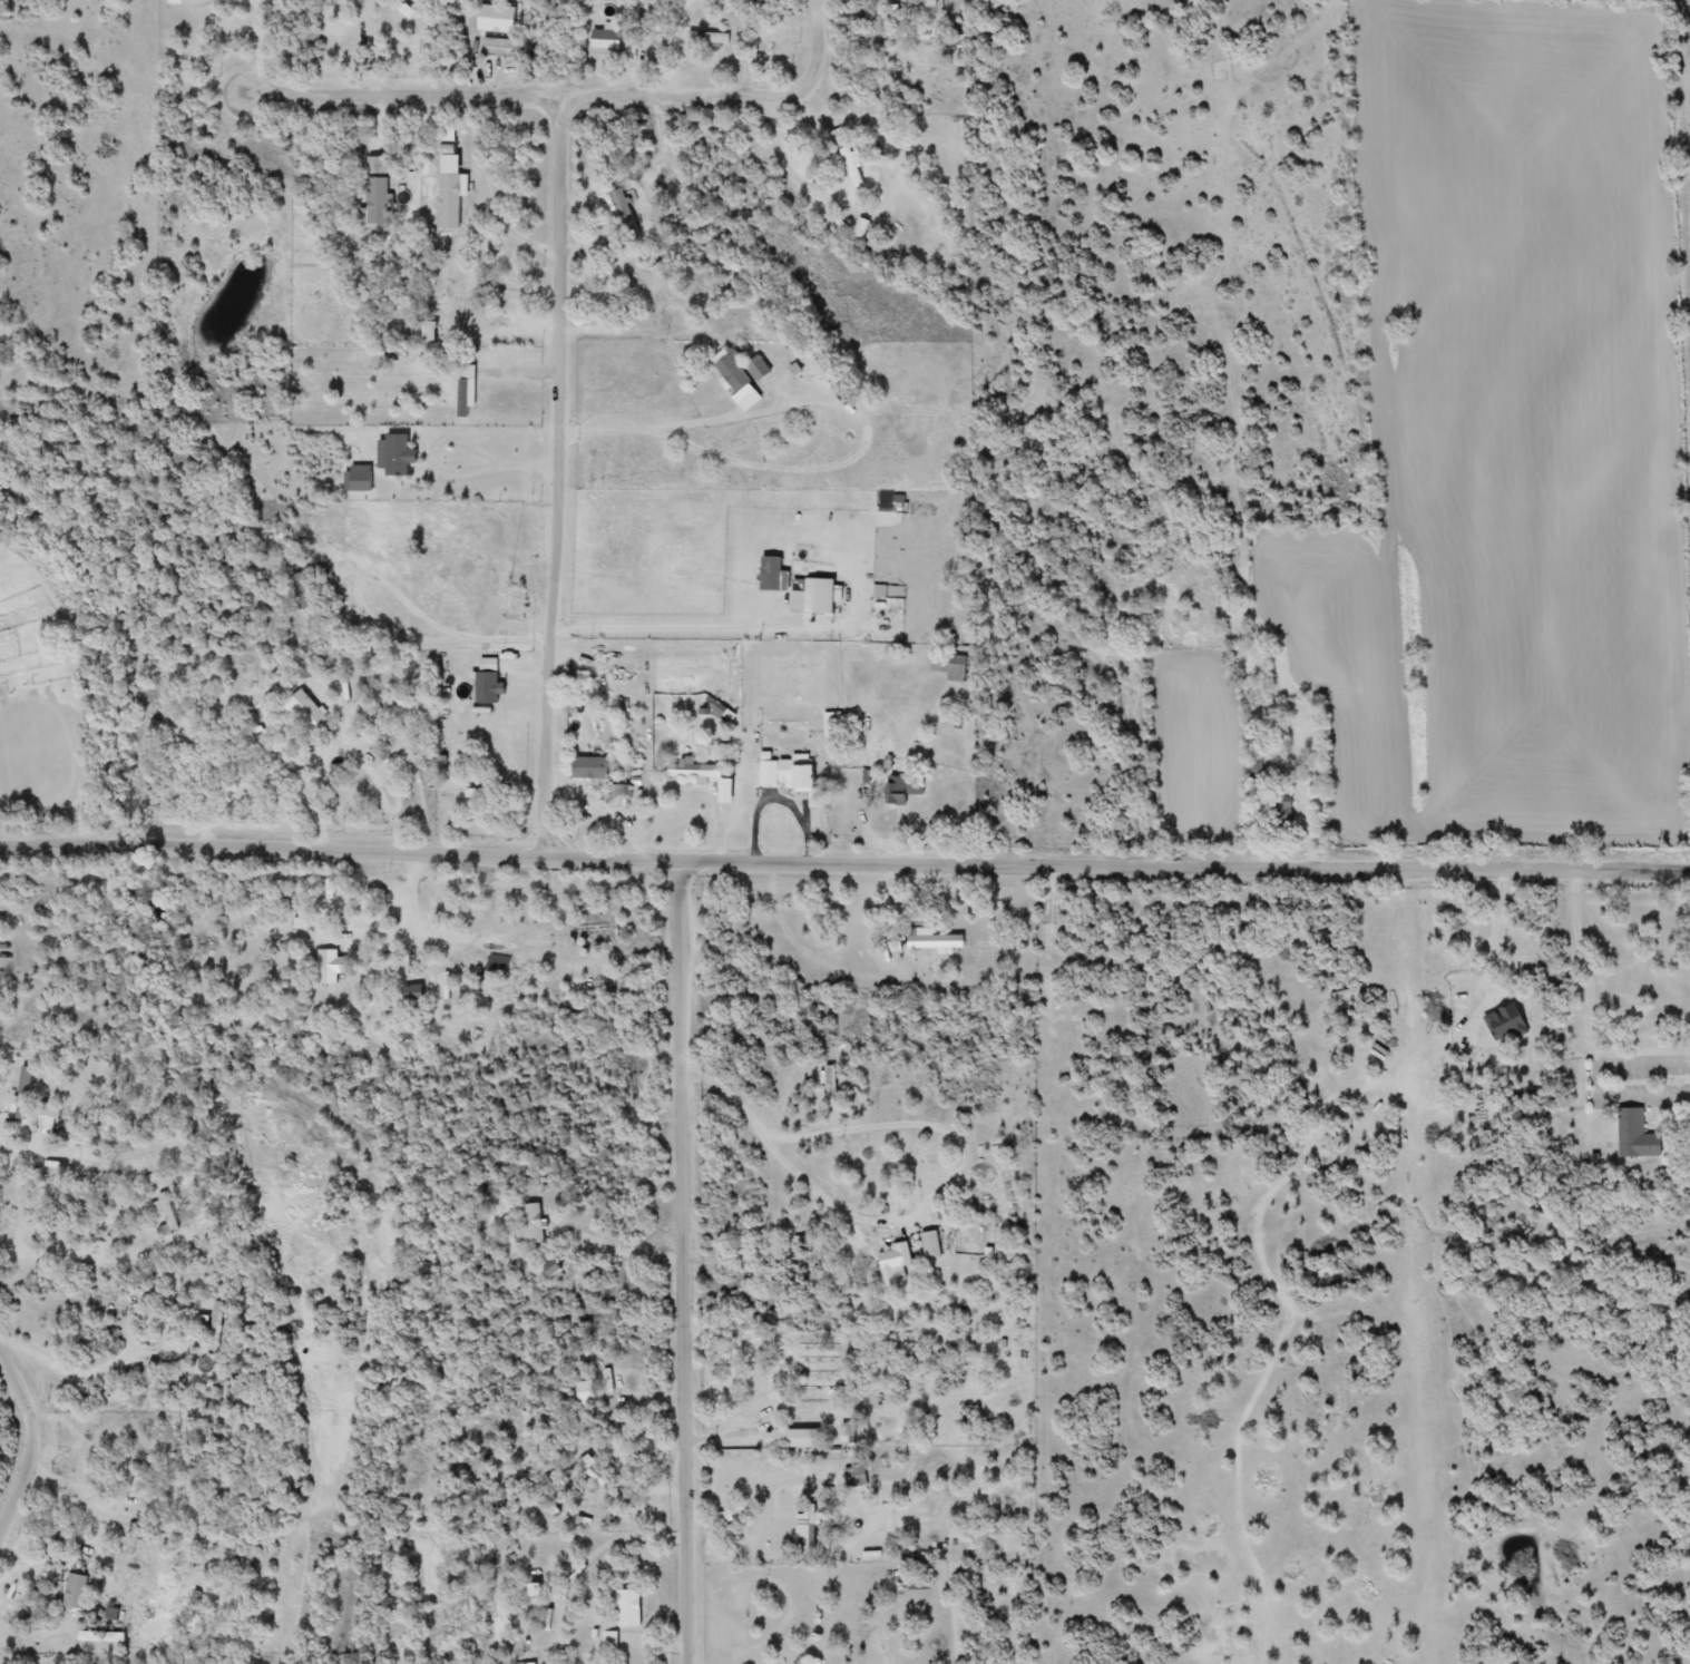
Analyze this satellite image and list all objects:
building: (930, 7)
building: (710, 38)
building: (606, 41)
road: (257, 45)
road: (377, 45)
building: (504, 47)
road: (570, 92)
building: (850, 159)
building: (378, 165)
building: (451, 183)
building: (378, 200)
road: (878, 208)
building: (864, 227)
building: (451, 298)
building: (760, 369)
building: (733, 372)
building: (461, 392)
road: (677, 419)
road: (448, 438)
road: (561, 473)
building: (775, 574)
building: (829, 596)
road: (682, 626)
road: (458, 632)
building: (950, 664)
building: (309, 711)
building: (593, 767)
building: (379, 769)
building: (1256, 769)
building: (695, 771)
building: (800, 775)
building: (906, 789)
road: (844, 855)
road: (1497, 929)
building: (939, 941)
building: (885, 958)
building: (329, 968)
road: (1592, 1004)
building: (26, 1093)
road: (1618, 1098)
road: (13, 1122)
building: (1632, 1135)
road: (793, 1156)
building: (879, 1174)
building: (534, 1224)
building: (973, 1234)
road: (53, 1253)
road: (685, 1259)
building: (896, 1262)
road: (126, 1379)
building: (587, 1392)
building: (1013, 1426)
road: (36, 1433)
building: (794, 1438)
building: (602, 1478)
building: (809, 1525)
building: (78, 1590)
building: (628, 1607)
road: (39, 1629)
building: (826, 1636)
road: (745, 1662)

